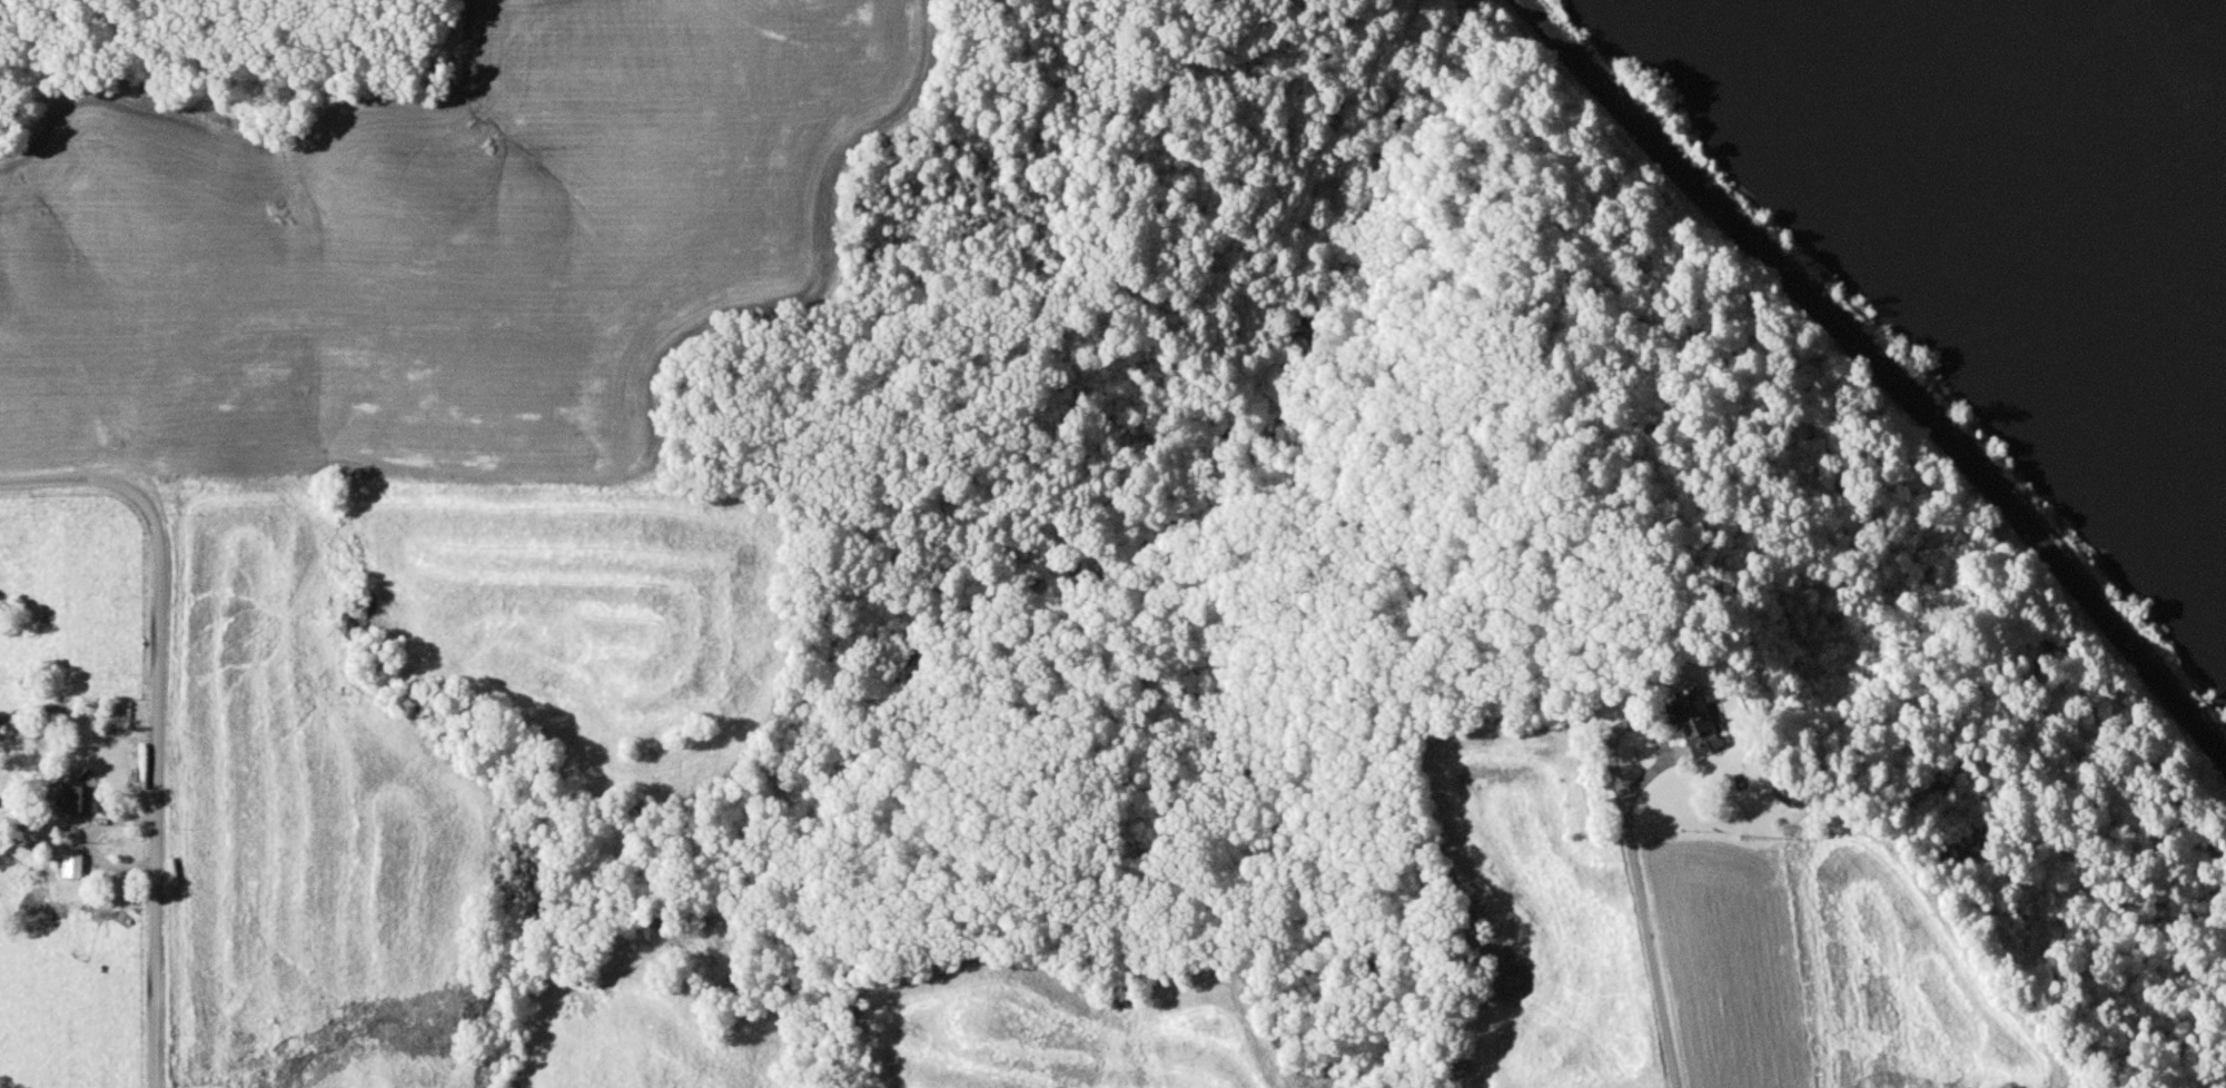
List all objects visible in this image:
river: (2093, 155)
railway: (1882, 373)
road: (68, 482)
building: (1693, 721)
road: (1645, 723)
road: (155, 788)
building: (1783, 793)
road: (1649, 947)

